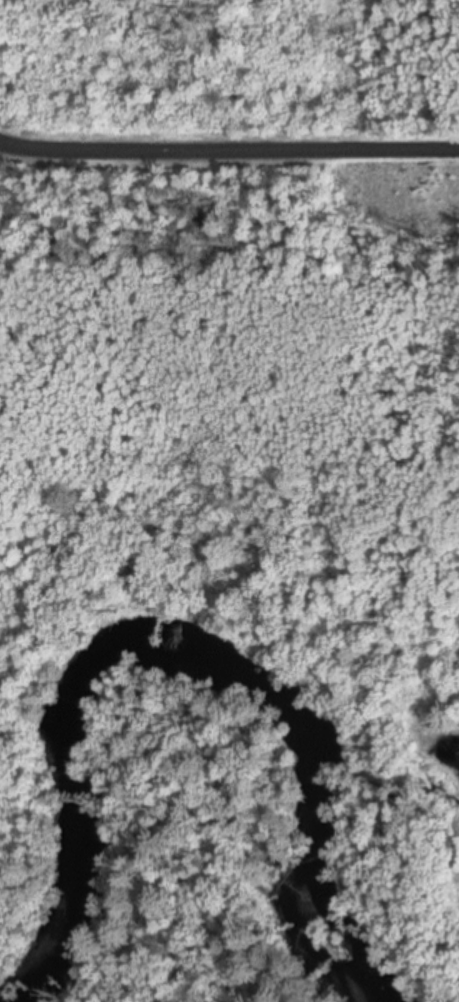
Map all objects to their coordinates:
road: (229, 157)
river: (187, 660)

